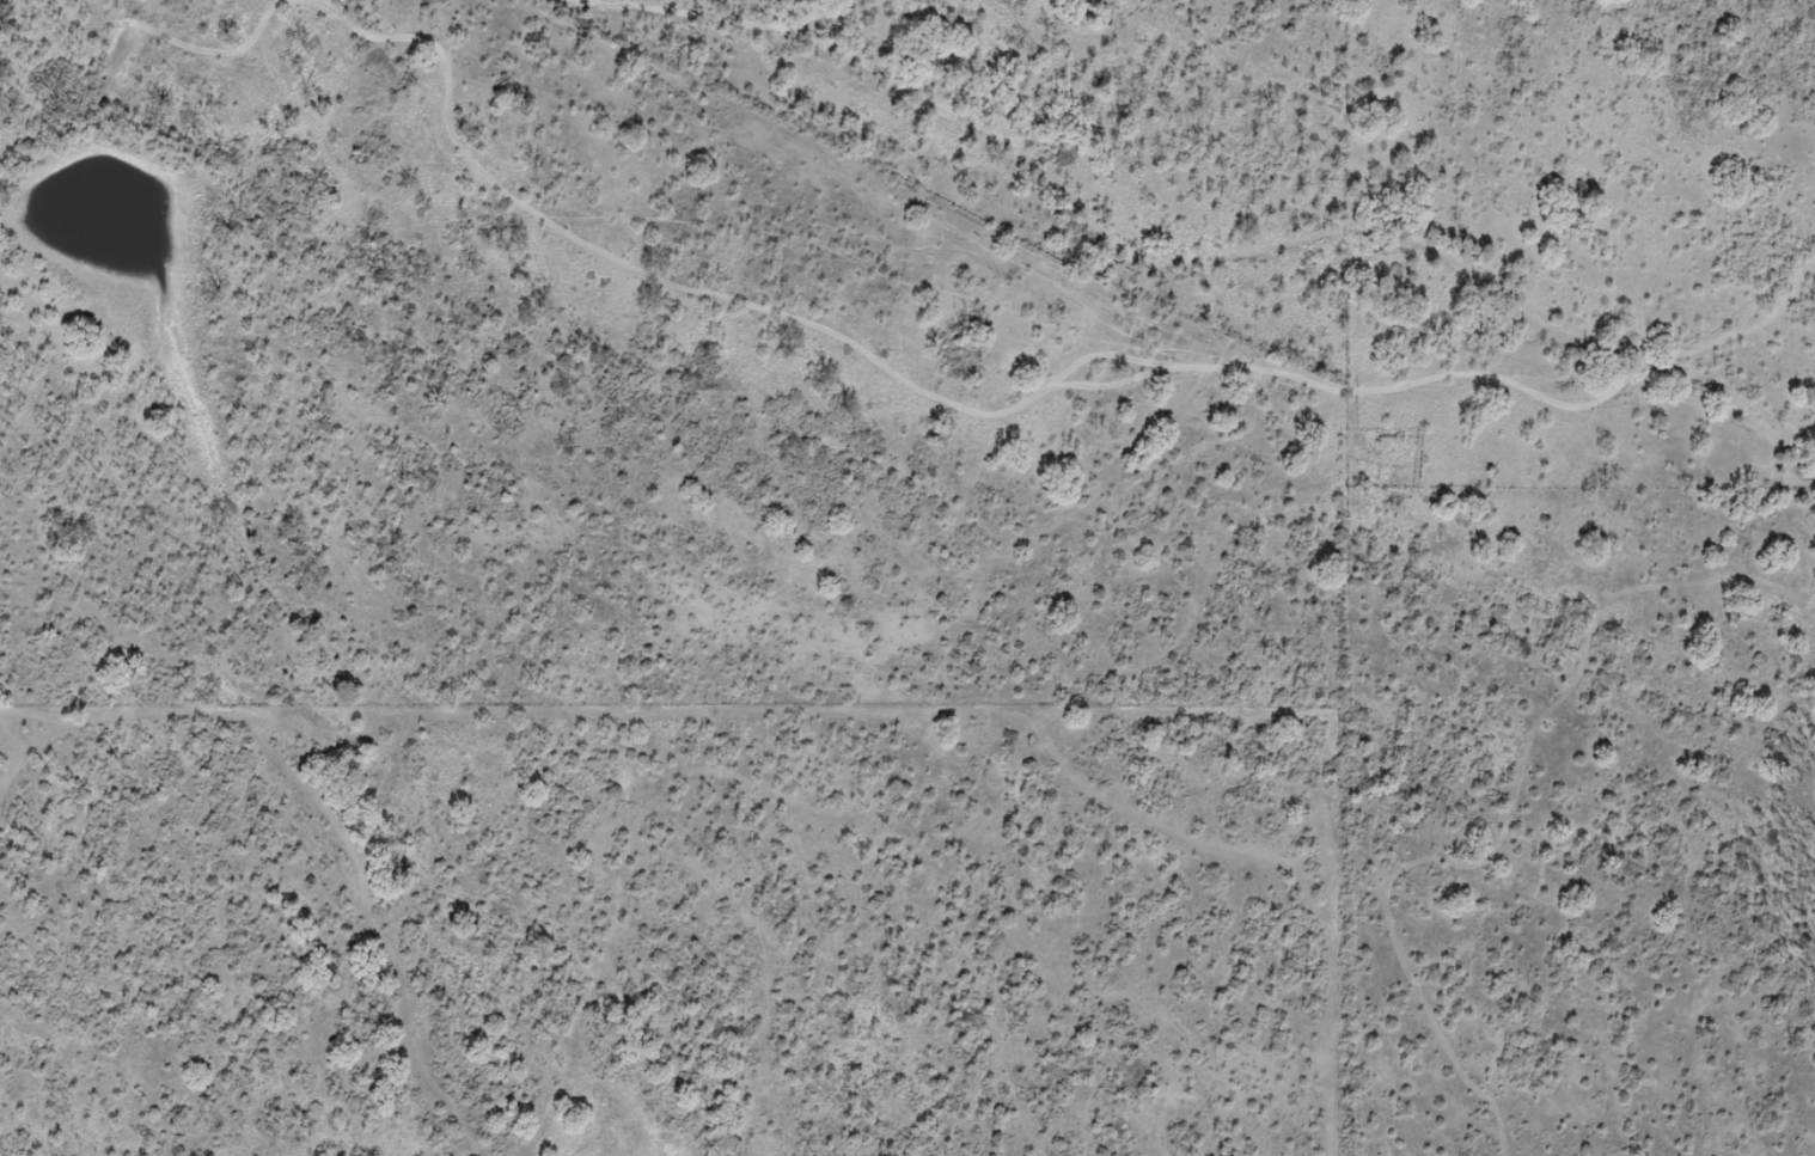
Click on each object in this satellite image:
road: (308, 816)

